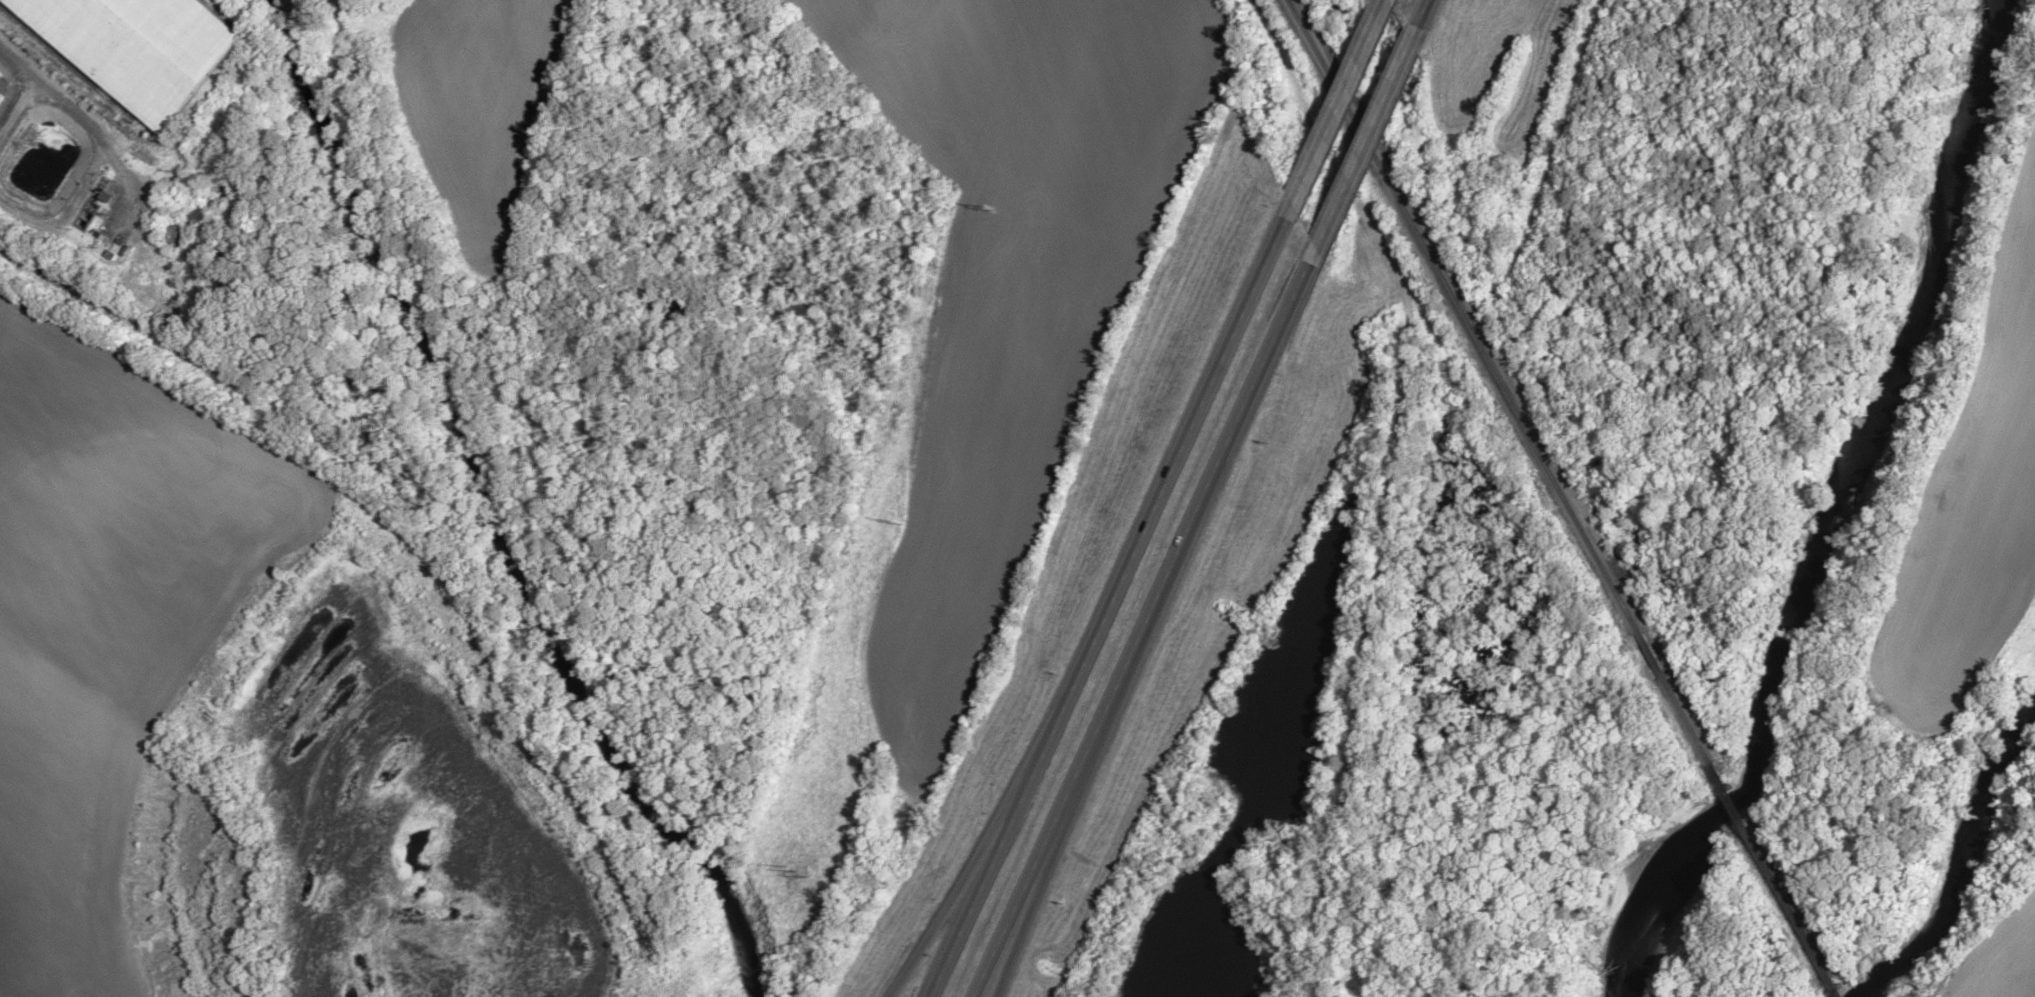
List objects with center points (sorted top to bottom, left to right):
road: (1429, 20)
building: (138, 46)
road: (1346, 104)
road: (84, 107)
road: (1371, 145)
power tower: (990, 205)
building: (198, 214)
railway: (1499, 381)
river: (1827, 512)
river: (487, 517)
road: (1115, 602)
road: (1148, 622)
railway: (1728, 793)
road: (973, 863)
river: (1964, 864)
power tower: (799, 874)
road: (1039, 894)
railway: (1790, 906)
railway: (1837, 992)

